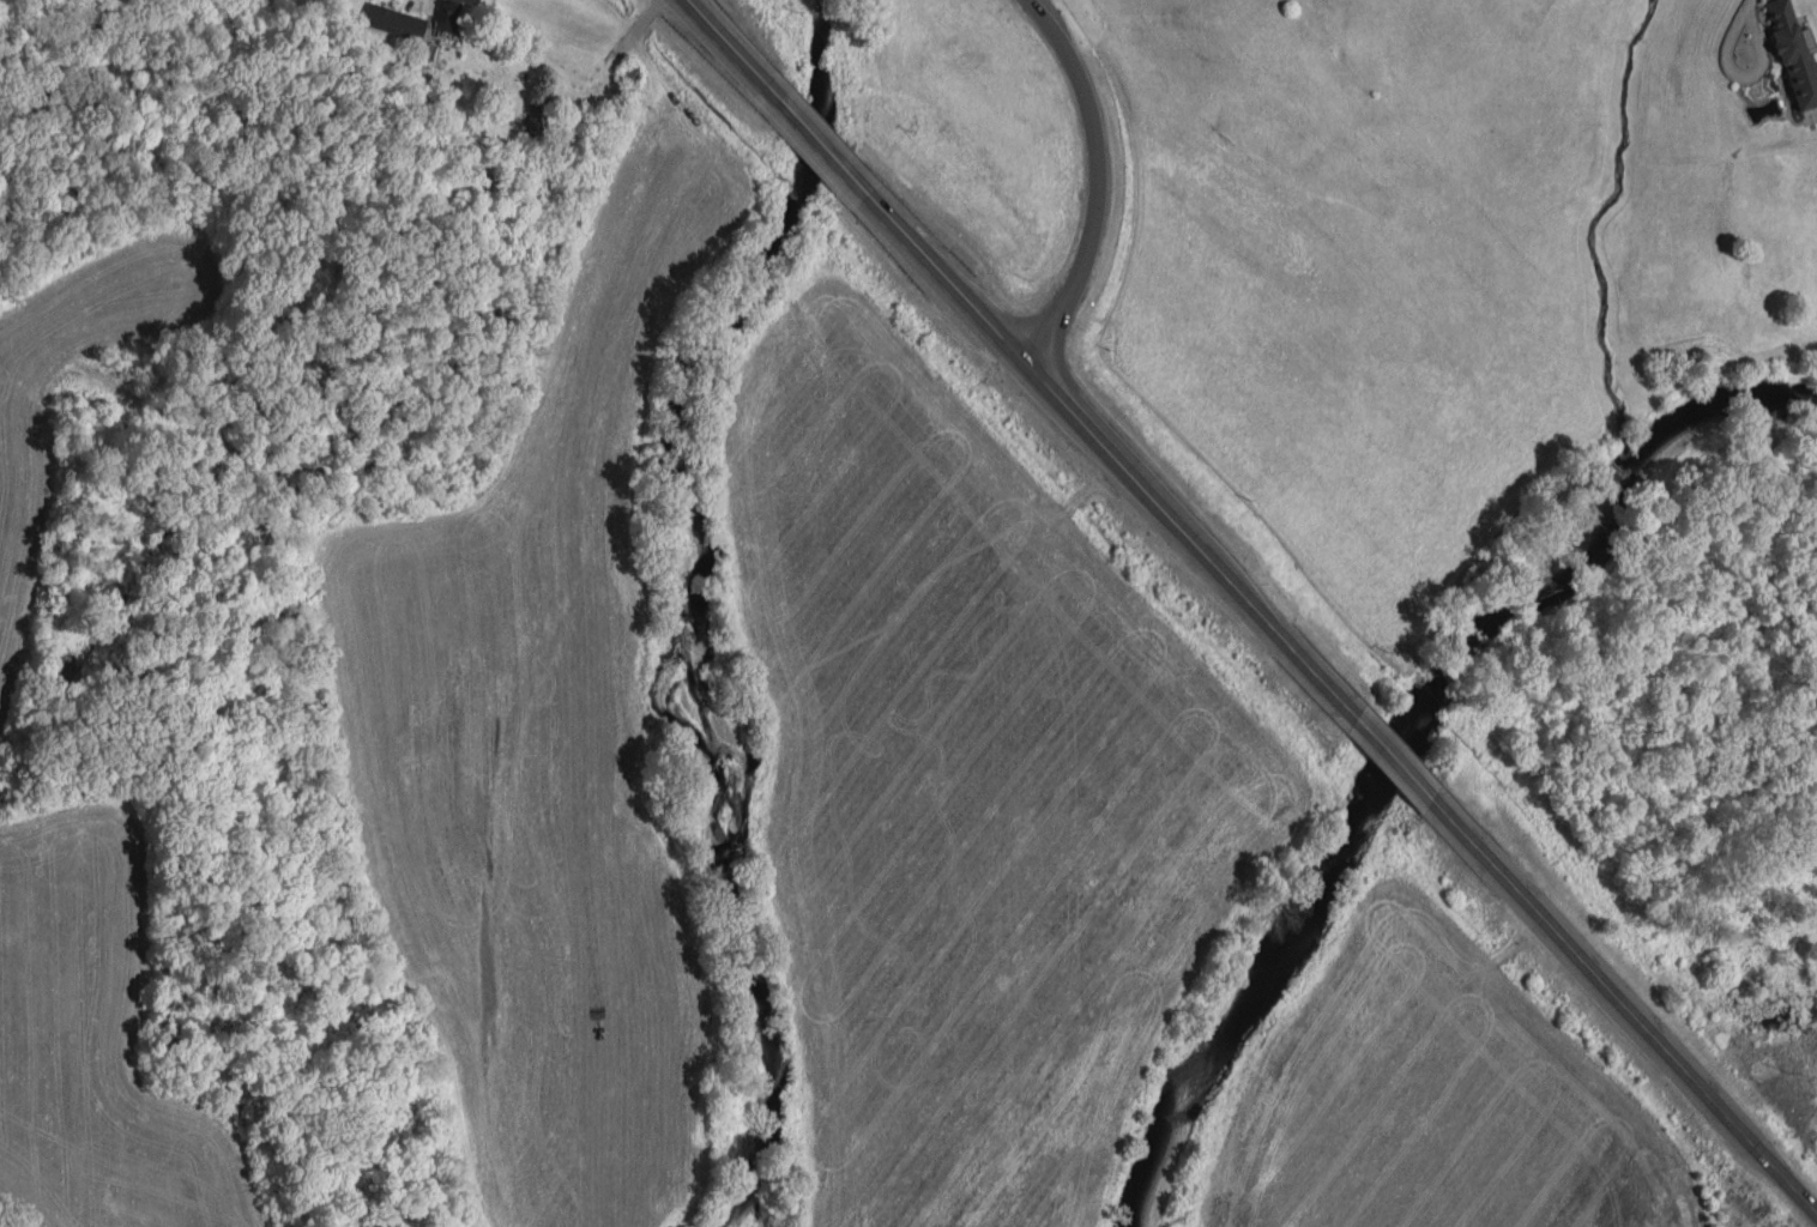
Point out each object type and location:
road: (1740, 1)
building: (393, 20)
building: (445, 25)
building: (1794, 54)
road: (1738, 73)
building: (537, 119)
road: (1092, 177)
road: (1024, 356)
river: (1415, 731)
road: (1395, 756)
road: (1626, 1005)

